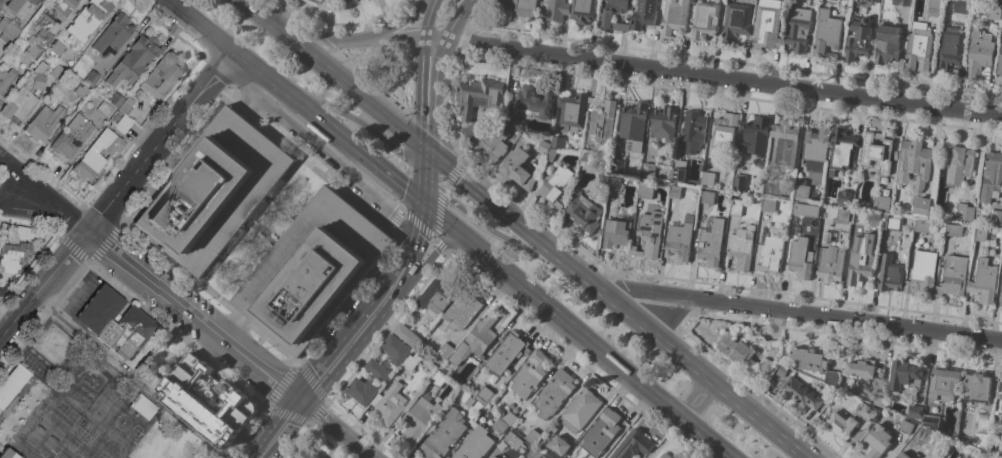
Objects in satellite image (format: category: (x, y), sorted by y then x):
building: (872, 0)
building: (997, 0)
building: (341, 1)
building: (2, 2)
building: (902, 2)
building: (18, 4)
building: (323, 4)
building: (63, 5)
building: (961, 6)
building: (519, 7)
building: (933, 8)
building: (557, 10)
building: (584, 11)
building: (994, 12)
road: (292, 13)
building: (612, 14)
building: (643, 14)
road: (480, 15)
building: (674, 18)
building: (88, 19)
road: (457, 20)
building: (705, 21)
building: (736, 21)
road: (355, 22)
road: (397, 22)
building: (767, 25)
road: (196, 27)
building: (9, 28)
road: (427, 28)
building: (798, 29)
building: (113, 35)
building: (827, 35)
building: (44, 36)
building: (5, 38)
road: (322, 39)
road: (360, 39)
building: (858, 39)
road: (436, 40)
road: (460, 43)
building: (888, 45)
building: (58, 47)
road: (437, 49)
building: (918, 49)
building: (951, 49)
building: (32, 51)
building: (978, 54)
building: (137, 57)
road: (386, 63)
building: (999, 67)
park: (385, 68)
building: (57, 71)
road: (216, 72)
road: (332, 74)
building: (161, 76)
building: (92, 77)
building: (6, 78)
road: (724, 78)
road: (368, 82)
building: (82, 89)
road: (167, 94)
building: (25, 95)
building: (480, 96)
building: (116, 98)
building: (536, 101)
road: (426, 103)
building: (0, 105)
building: (125, 107)
building: (104, 108)
road: (446, 110)
building: (572, 112)
road: (348, 116)
road: (426, 119)
building: (603, 121)
building: (44, 123)
building: (123, 123)
building: (664, 123)
building: (515, 124)
road: (326, 127)
building: (633, 127)
building: (725, 129)
building: (470, 131)
building: (693, 131)
building: (72, 136)
building: (756, 136)
road: (158, 141)
building: (557, 142)
building: (491, 144)
building: (784, 144)
building: (816, 144)
building: (543, 147)
traffic signals: (424, 149)
building: (843, 149)
building: (877, 151)
building: (97, 154)
building: (551, 154)
building: (586, 156)
road: (177, 159)
road: (332, 162)
building: (916, 162)
building: (760, 164)
building: (618, 165)
building: (960, 165)
building: (518, 168)
building: (648, 170)
building: (679, 171)
building: (602, 175)
road: (423, 176)
building: (991, 177)
building: (708, 178)
building: (739, 182)
building: (614, 184)
building: (556, 185)
building: (773, 188)
building: (215, 191)
building: (645, 191)
building: (802, 191)
building: (675, 192)
road: (43, 193)
road: (440, 193)
building: (707, 197)
building: (845, 198)
road: (83, 201)
building: (881, 202)
road: (493, 203)
traffic signals: (422, 204)
road: (32, 205)
building: (768, 206)
building: (922, 206)
building: (736, 207)
building: (798, 209)
building: (583, 212)
building: (965, 213)
building: (843, 215)
building: (996, 217)
building: (874, 220)
road: (416, 223)
building: (893, 223)
building: (922, 225)
road: (489, 230)
building: (953, 230)
park: (264, 231)
road: (264, 232)
building: (980, 233)
building: (617, 234)
building: (649, 235)
building: (826, 237)
building: (680, 239)
building: (711, 243)
building: (742, 247)
building: (16, 253)
building: (771, 254)
building: (800, 258)
building: (861, 260)
road: (88, 261)
road: (423, 261)
building: (831, 264)
road: (28, 271)
building: (313, 271)
building: (922, 272)
building: (890, 274)
building: (953, 276)
building: (984, 281)
road: (43, 282)
building: (3, 288)
building: (437, 295)
road: (348, 299)
building: (1001, 300)
building: (99, 309)
road: (147, 309)
road: (373, 309)
building: (461, 312)
road: (803, 313)
road: (194, 315)
road: (386, 328)
road: (574, 330)
building: (128, 332)
building: (407, 335)
building: (475, 340)
building: (54, 342)
building: (735, 348)
building: (445, 350)
building: (507, 353)
road: (684, 358)
building: (38, 360)
building: (412, 362)
building: (816, 364)
building: (766, 366)
building: (112, 369)
building: (864, 369)
building: (378, 370)
building: (782, 370)
building: (530, 374)
building: (907, 375)
road: (130, 376)
building: (438, 378)
building: (13, 383)
building: (944, 383)
building: (977, 388)
building: (554, 393)
building: (801, 393)
building: (462, 395)
building: (484, 395)
building: (183, 399)
road: (696, 400)
building: (880, 400)
building: (391, 404)
building: (143, 406)
building: (999, 406)
building: (581, 407)
building: (482, 408)
building: (915, 411)
building: (866, 412)
building: (509, 417)
road: (295, 419)
building: (419, 420)
building: (930, 422)
building: (840, 423)
building: (499, 426)
building: (905, 426)
road: (278, 429)
road: (335, 430)
building: (601, 432)
building: (443, 436)
building: (533, 437)
building: (510, 438)
road: (665, 438)
building: (981, 440)
road: (296, 441)
building: (878, 441)
building: (475, 444)
building: (560, 444)
building: (632, 445)
building: (305, 453)
building: (535, 453)
building: (1001, 453)
building: (9, 454)
building: (902, 455)
building: (973, 455)
building: (666, 456)
building: (494, 457)

